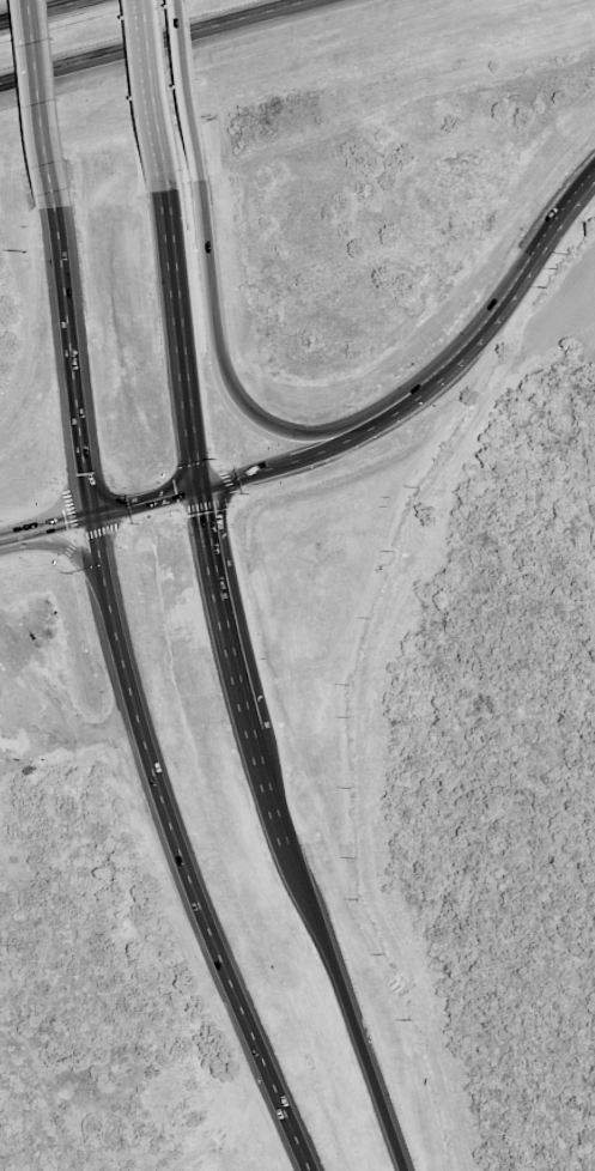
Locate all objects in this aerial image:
road: (44, 12)
road: (151, 41)
road: (189, 83)
road: (156, 87)
road: (47, 104)
road: (221, 358)
road: (75, 363)
road: (388, 412)
road: (198, 466)
traffic signals: (201, 487)
traffic signals: (95, 517)
road: (47, 530)
road: (180, 850)
road: (334, 960)

